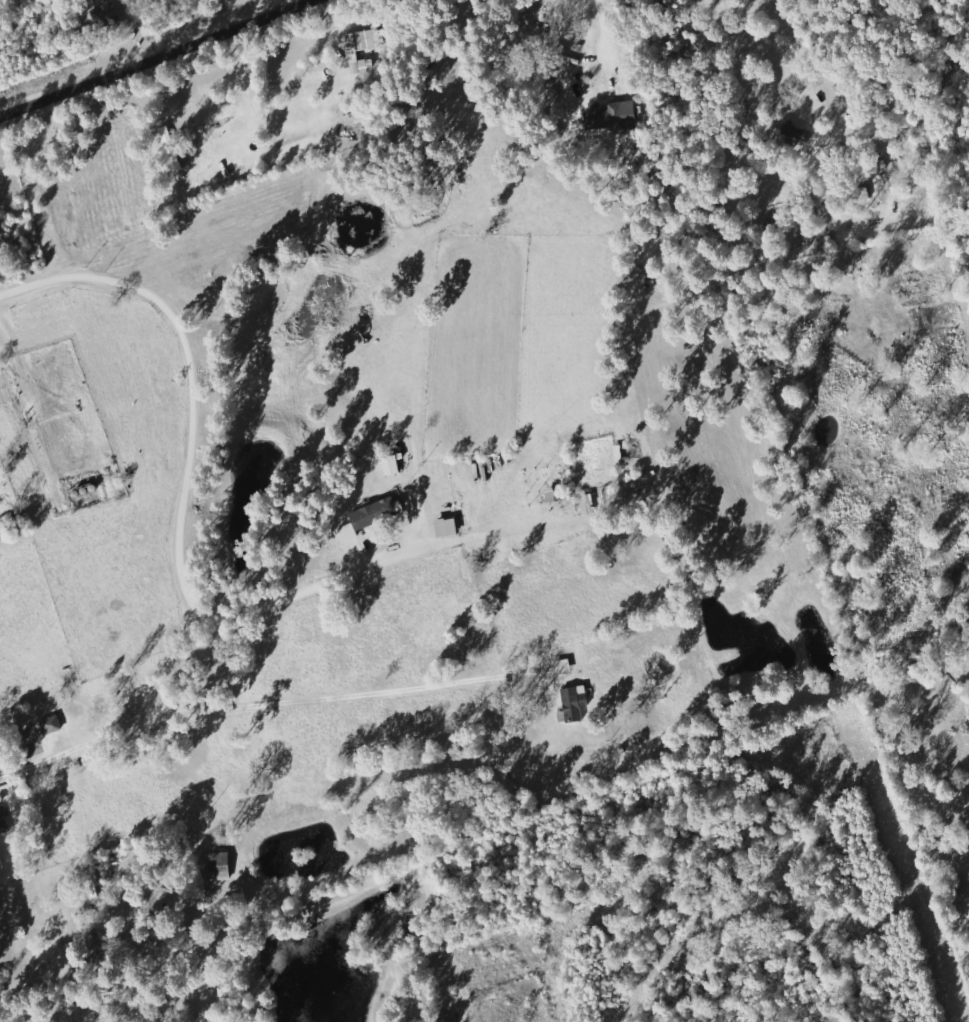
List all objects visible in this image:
building: (364, 48)
road: (156, 58)
building: (614, 116)
building: (393, 465)
building: (553, 494)
building: (372, 517)
building: (448, 527)
building: (574, 704)
building: (53, 724)
building: (3, 822)
building: (221, 866)

